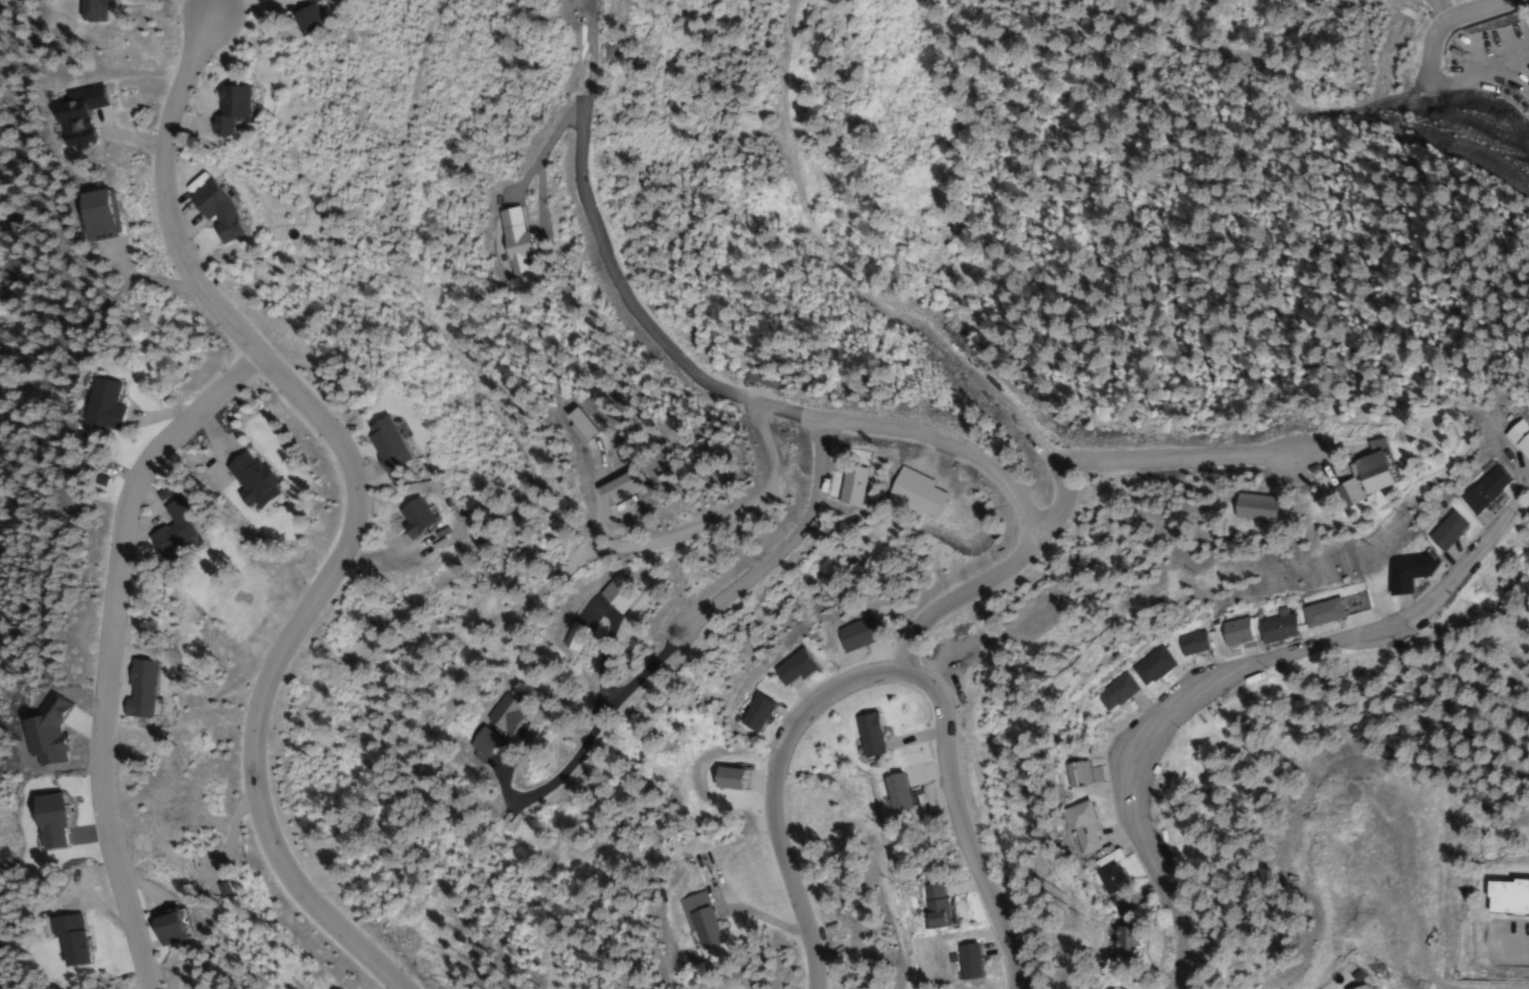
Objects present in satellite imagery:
building: (89, 10)
road: (1447, 24)
building: (225, 108)
building: (65, 116)
building: (212, 213)
building: (89, 216)
building: (96, 404)
road: (783, 412)
road: (154, 415)
road: (213, 434)
building: (380, 444)
building: (1502, 447)
road: (1129, 462)
building: (248, 480)
building: (1343, 480)
building: (1464, 492)
building: (908, 494)
road: (353, 500)
building: (1238, 509)
road: (154, 516)
building: (406, 518)
building: (173, 526)
building: (1429, 534)
road: (781, 543)
building: (1394, 574)
building: (1350, 604)
building: (1317, 614)
building: (1272, 630)
building: (1232, 632)
building: (851, 635)
building: (1187, 645)
road: (106, 647)
building: (1147, 667)
building: (788, 669)
road: (115, 673)
road: (1227, 675)
road: (876, 678)
building: (134, 690)
building: (1112, 693)
building: (752, 714)
building: (865, 736)
building: (1072, 775)
building: (724, 779)
building: (892, 793)
building: (45, 819)
building: (1080, 828)
road: (81, 834)
building: (1107, 871)
road: (142, 886)
building: (1505, 899)
road: (100, 906)
building: (930, 906)
building: (696, 920)
building: (162, 923)
building: (85, 939)
road: (1509, 939)
building: (1122, 945)
building: (964, 962)
building: (1357, 987)
building: (1112, 988)

